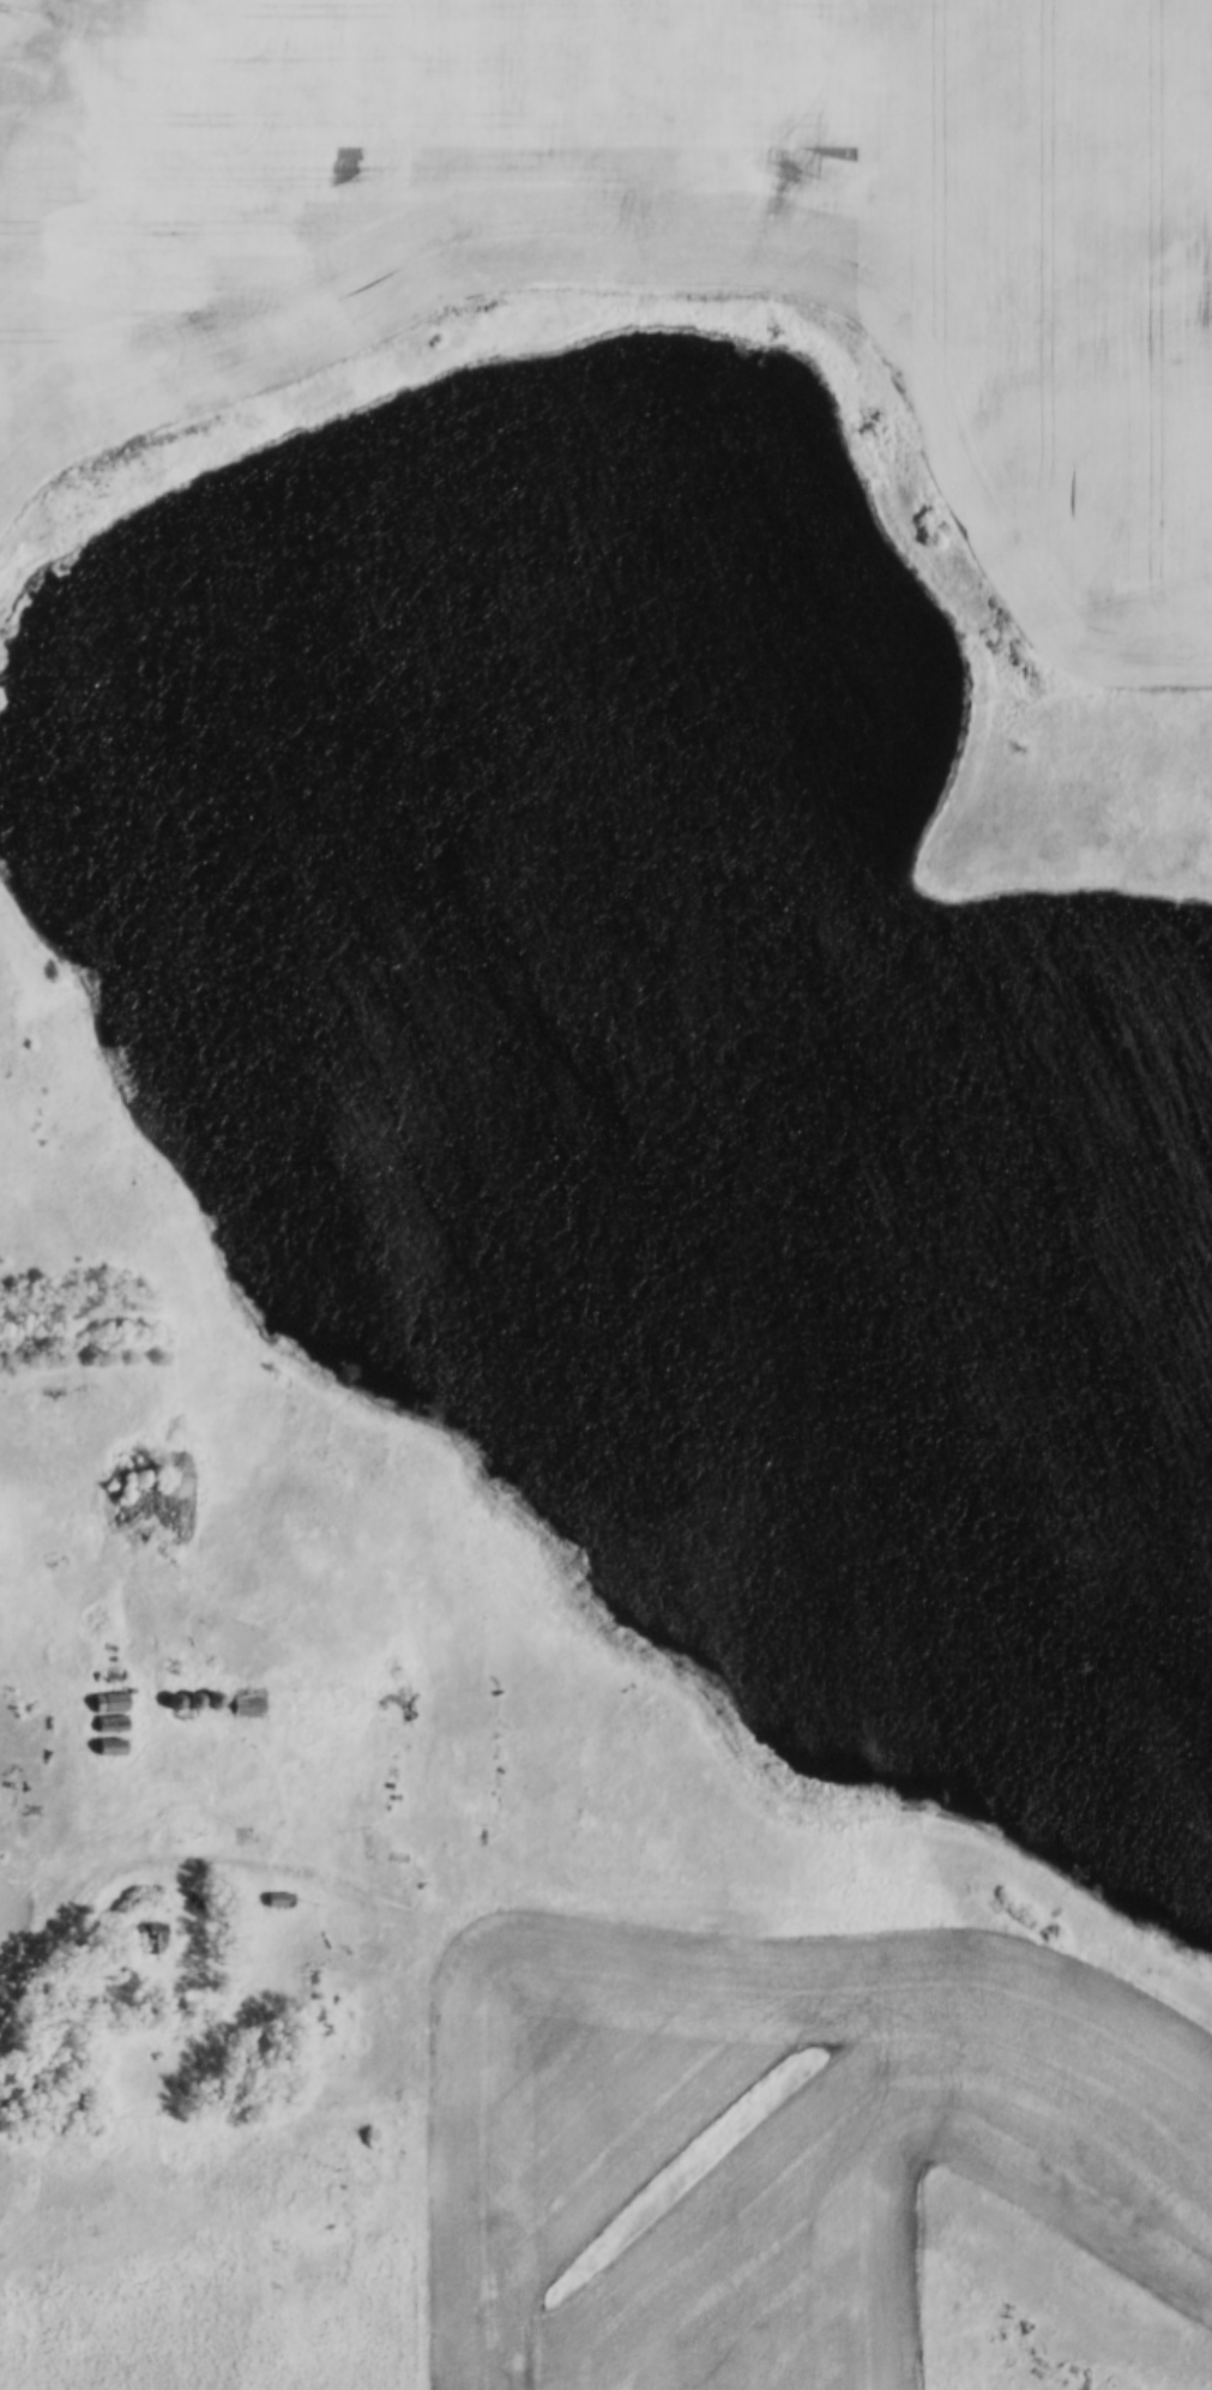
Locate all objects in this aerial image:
building: (283, 1904)
road: (585, 1909)

